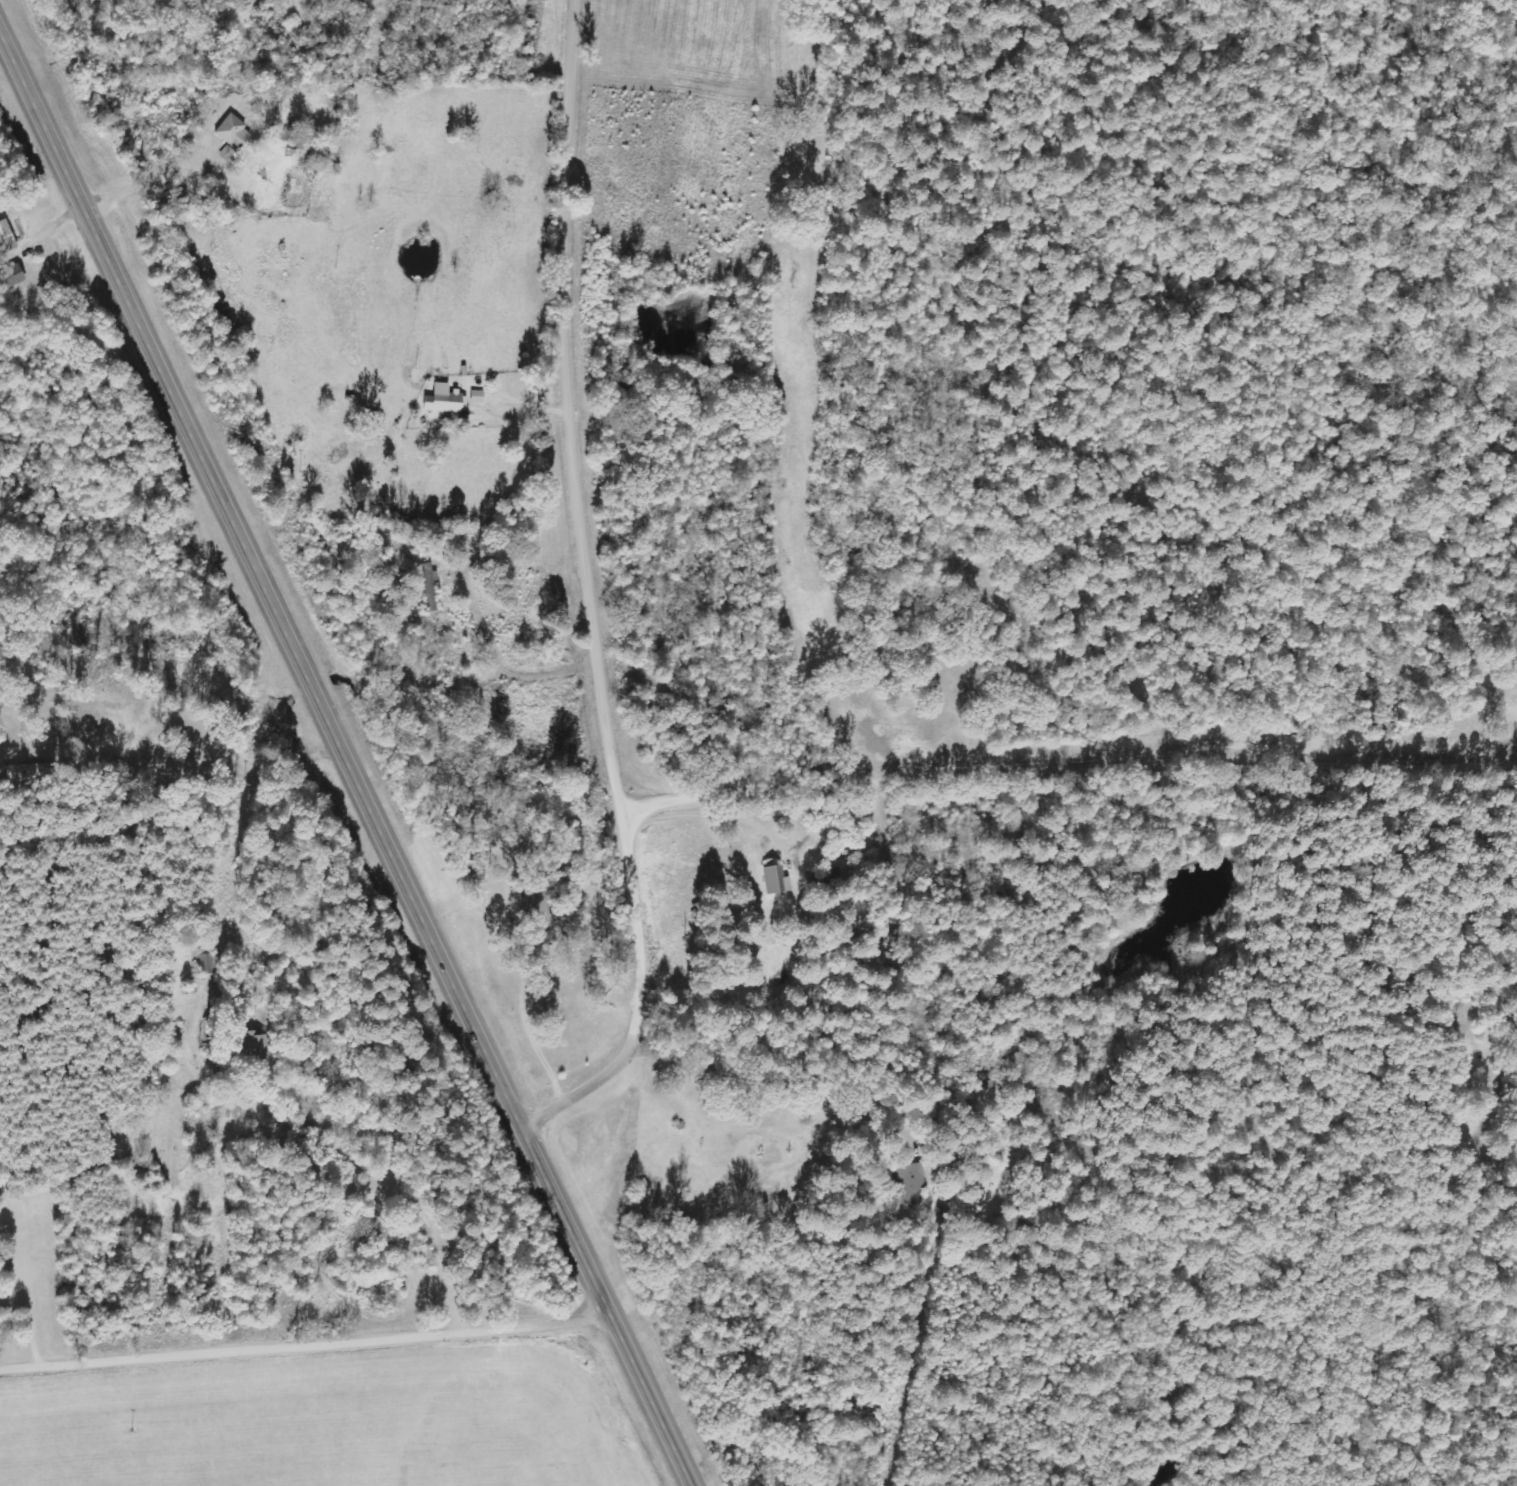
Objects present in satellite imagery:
building: (235, 134)
building: (8, 237)
building: (17, 275)
building: (444, 400)
building: (430, 594)
road: (596, 596)
road: (345, 760)
road: (1070, 769)
building: (27, 775)
building: (775, 879)
building: (980, 1157)
road: (304, 1350)

